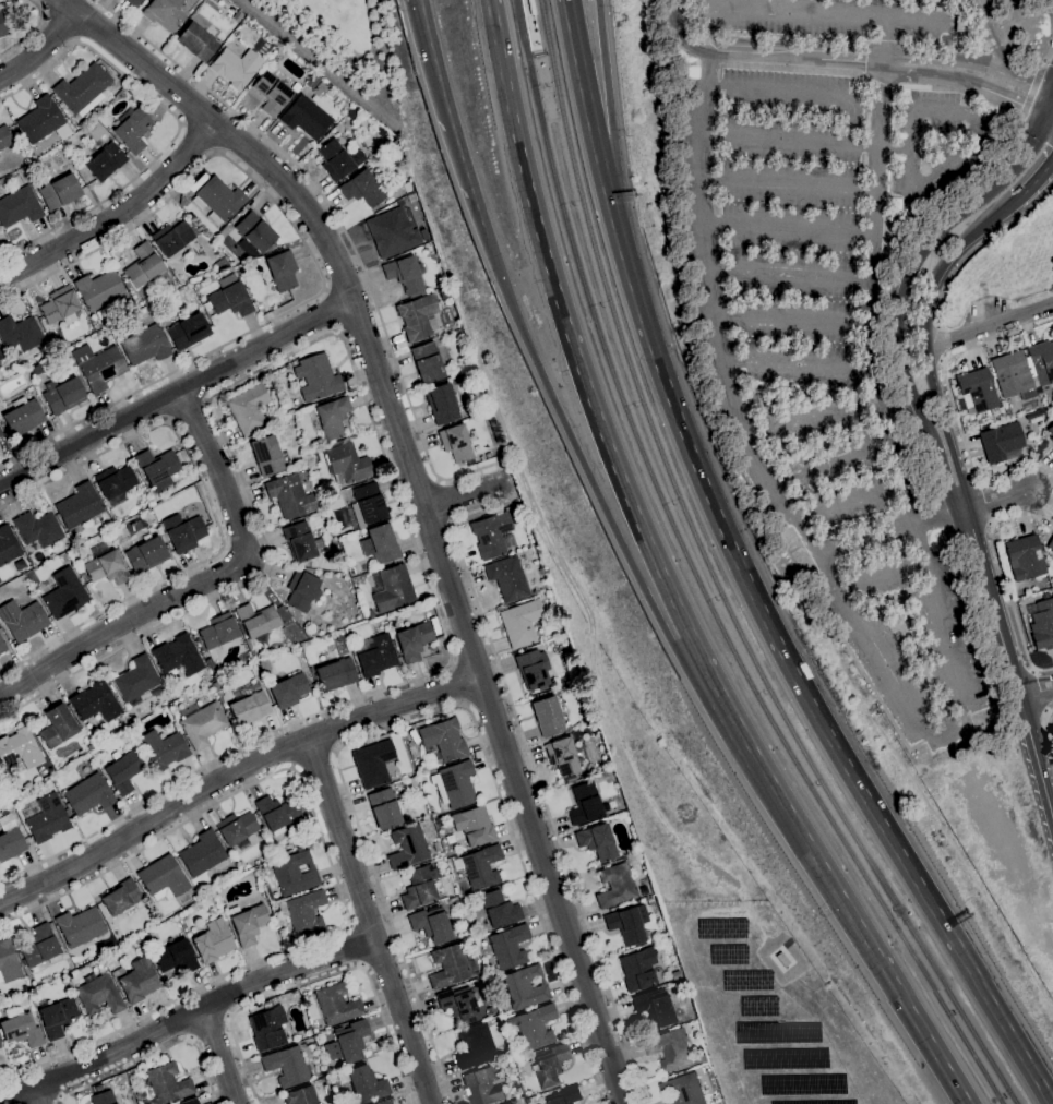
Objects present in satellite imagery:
building: (134, 2)
road: (721, 3)
building: (530, 8)
building: (164, 13)
road: (823, 14)
building: (237, 16)
road: (422, 19)
building: (960, 24)
building: (2, 28)
road: (31, 32)
road: (1051, 33)
road: (56, 35)
road: (678, 35)
road: (988, 37)
road: (77, 39)
building: (195, 41)
road: (661, 44)
road: (41, 47)
railway: (535, 50)
road: (795, 52)
road: (373, 61)
road: (945, 61)
road: (708, 63)
building: (235, 68)
road: (792, 69)
road: (882, 81)
road: (967, 82)
building: (311, 83)
road: (1030, 84)
building: (295, 87)
building: (320, 87)
building: (124, 89)
building: (82, 91)
road: (962, 93)
building: (271, 94)
road: (797, 94)
road: (1029, 95)
building: (352, 113)
road: (1052, 115)
building: (306, 118)
traffic signals: (1051, 118)
road: (1052, 118)
building: (39, 120)
road: (178, 124)
road: (593, 128)
road: (610, 128)
building: (132, 129)
building: (94, 130)
building: (4, 137)
road: (198, 139)
road: (807, 140)
road: (455, 145)
building: (357, 158)
building: (334, 160)
building: (104, 163)
road: (942, 171)
road: (788, 184)
building: (407, 188)
building: (362, 189)
road: (1032, 189)
building: (59, 192)
building: (217, 200)
building: (19, 206)
road: (117, 216)
road: (342, 228)
road: (788, 229)
building: (253, 231)
building: (392, 233)
building: (173, 238)
road: (977, 247)
road: (310, 256)
road: (913, 259)
building: (220, 263)
building: (143, 266)
building: (282, 271)
road: (788, 274)
building: (405, 276)
building: (127, 286)
building: (98, 289)
building: (444, 293)
building: (229, 298)
parking lot: (833, 301)
building: (59, 307)
road: (332, 312)
building: (418, 317)
road: (790, 321)
road: (989, 326)
building: (187, 333)
building: (19, 334)
building: (117, 335)
building: (441, 345)
building: (144, 346)
road: (924, 348)
building: (0, 357)
building: (1041, 361)
building: (427, 362)
building: (294, 363)
road: (793, 364)
building: (98, 367)
building: (36, 370)
building: (1010, 373)
building: (316, 377)
building: (1033, 381)
building: (28, 389)
building: (976, 392)
road: (175, 393)
building: (62, 395)
building: (442, 404)
road: (953, 407)
building: (248, 409)
road: (189, 412)
building: (22, 416)
building: (332, 417)
building: (1033, 417)
road: (810, 418)
road: (374, 433)
building: (1050, 433)
building: (0, 434)
building: (1000, 442)
building: (455, 443)
building: (266, 455)
building: (312, 458)
road: (829, 459)
road: (514, 460)
building: (345, 461)
building: (470, 461)
building: (157, 468)
road: (941, 482)
building: (113, 484)
road: (464, 494)
building: (289, 495)
road: (421, 501)
building: (516, 501)
road: (446, 502)
road: (995, 502)
road: (848, 503)
building: (367, 504)
building: (322, 505)
building: (79, 506)
building: (519, 506)
road: (214, 515)
building: (516, 517)
building: (37, 529)
road: (889, 532)
building: (186, 535)
building: (491, 535)
building: (298, 542)
road: (971, 542)
building: (379, 544)
building: (1050, 544)
building: (8, 545)
road: (624, 553)
building: (145, 555)
building: (1024, 559)
building: (105, 566)
building: (80, 572)
road: (1003, 574)
road: (882, 577)
building: (507, 578)
railway: (696, 578)
railway: (714, 578)
road: (663, 579)
road: (204, 584)
building: (1046, 587)
building: (392, 589)
building: (301, 590)
building: (64, 593)
building: (22, 620)
building: (256, 620)
building: (520, 623)
building: (1043, 624)
building: (217, 631)
building: (412, 640)
building: (199, 645)
building: (287, 645)
building: (1, 647)
building: (374, 653)
building: (177, 656)
road: (452, 664)
building: (264, 665)
building: (210, 667)
building: (533, 669)
building: (335, 674)
building: (563, 681)
building: (136, 682)
road: (462, 684)
building: (288, 691)
road: (1036, 694)
road: (805, 695)
road: (1018, 697)
building: (96, 701)
building: (248, 705)
road: (467, 705)
road: (421, 717)
building: (548, 717)
building: (443, 718)
building: (200, 723)
road: (1048, 727)
building: (59, 728)
road: (934, 731)
building: (443, 740)
building: (409, 745)
building: (19, 749)
building: (163, 749)
road: (312, 756)
building: (562, 756)
building: (372, 764)
building: (123, 771)
road: (232, 772)
building: (607, 772)
road: (537, 782)
building: (454, 784)
building: (88, 794)
building: (585, 803)
building: (607, 806)
building: (385, 808)
building: (276, 814)
building: (46, 818)
building: (474, 826)
building: (237, 829)
building: (10, 838)
building: (597, 841)
building: (407, 847)
building: (435, 848)
building: (202, 854)
road: (332, 867)
building: (481, 867)
building: (294, 873)
building: (163, 879)
building: (615, 886)
building: (419, 887)
building: (642, 890)
building: (120, 897)
building: (195, 898)
building: (264, 900)
building: (649, 901)
building: (499, 909)
building: (303, 912)
road: (370, 921)
building: (247, 923)
building: (430, 924)
building: (80, 926)
road: (349, 926)
building: (625, 926)
building: (469, 939)
building: (136, 940)
building: (213, 941)
building: (38, 946)
road: (358, 946)
building: (508, 947)
building: (175, 957)
building: (779, 959)
building: (8, 963)
road: (362, 967)
building: (451, 967)
building: (637, 969)
building: (117, 972)
road: (320, 979)
building: (137, 981)
building: (524, 987)
building: (98, 992)
building: (336, 1005)
building: (458, 1005)
building: (653, 1007)
solar farm: (766, 1010)
building: (490, 1011)
road: (187, 1015)
road: (228, 1017)
building: (56, 1018)
road: (208, 1025)
building: (536, 1027)
building: (20, 1030)
building: (268, 1030)
road: (191, 1039)
building: (347, 1043)
building: (475, 1046)
building: (670, 1049)
road: (154, 1054)
road: (220, 1055)
building: (551, 1065)
building: (285, 1066)
building: (167, 1083)
building: (363, 1083)
building: (483, 1087)
building: (98, 1088)
building: (683, 1090)
road: (36, 1094)
building: (566, 1095)
building: (300, 1096)
building: (103, 1099)
building: (523, 1100)
building: (528, 1100)
road: (56, 1101)
building: (189, 1101)
building: (386, 1102)
building: (510, 1103)

